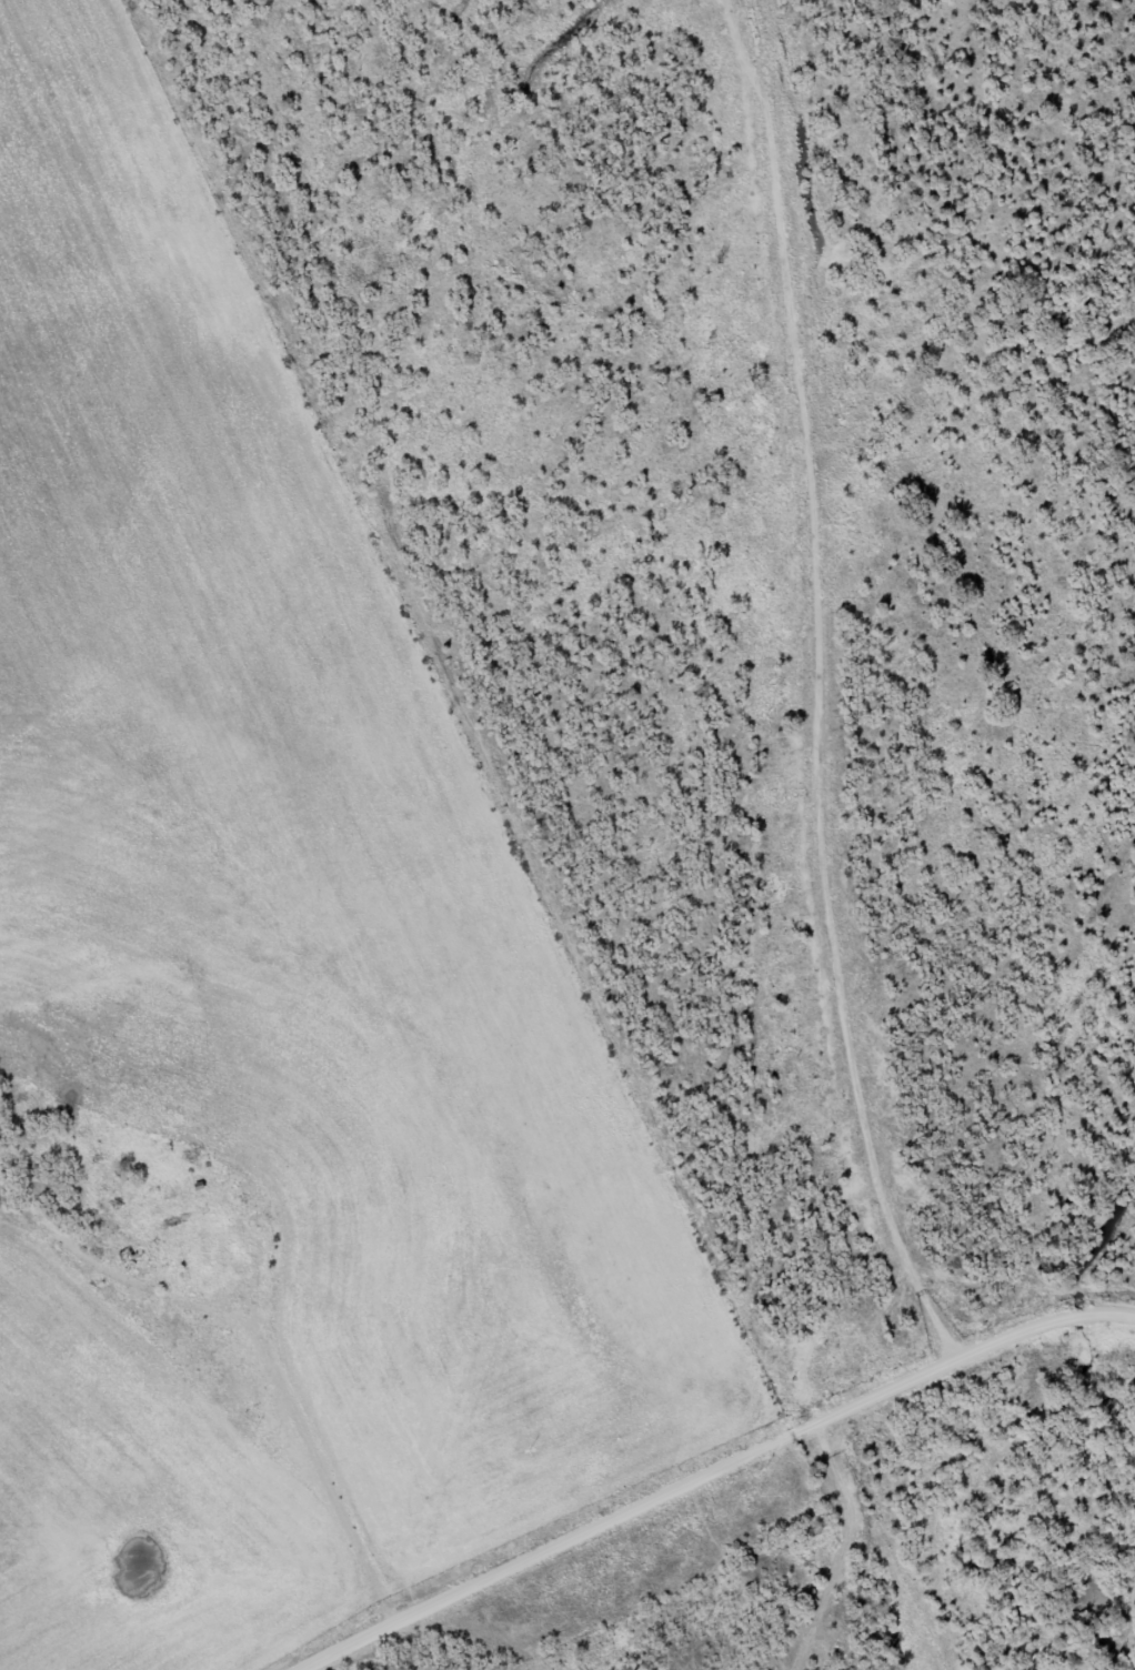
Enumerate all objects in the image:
road: (825, 686)
road: (902, 1382)
road: (307, 1398)
road: (376, 1559)
road: (510, 1580)

